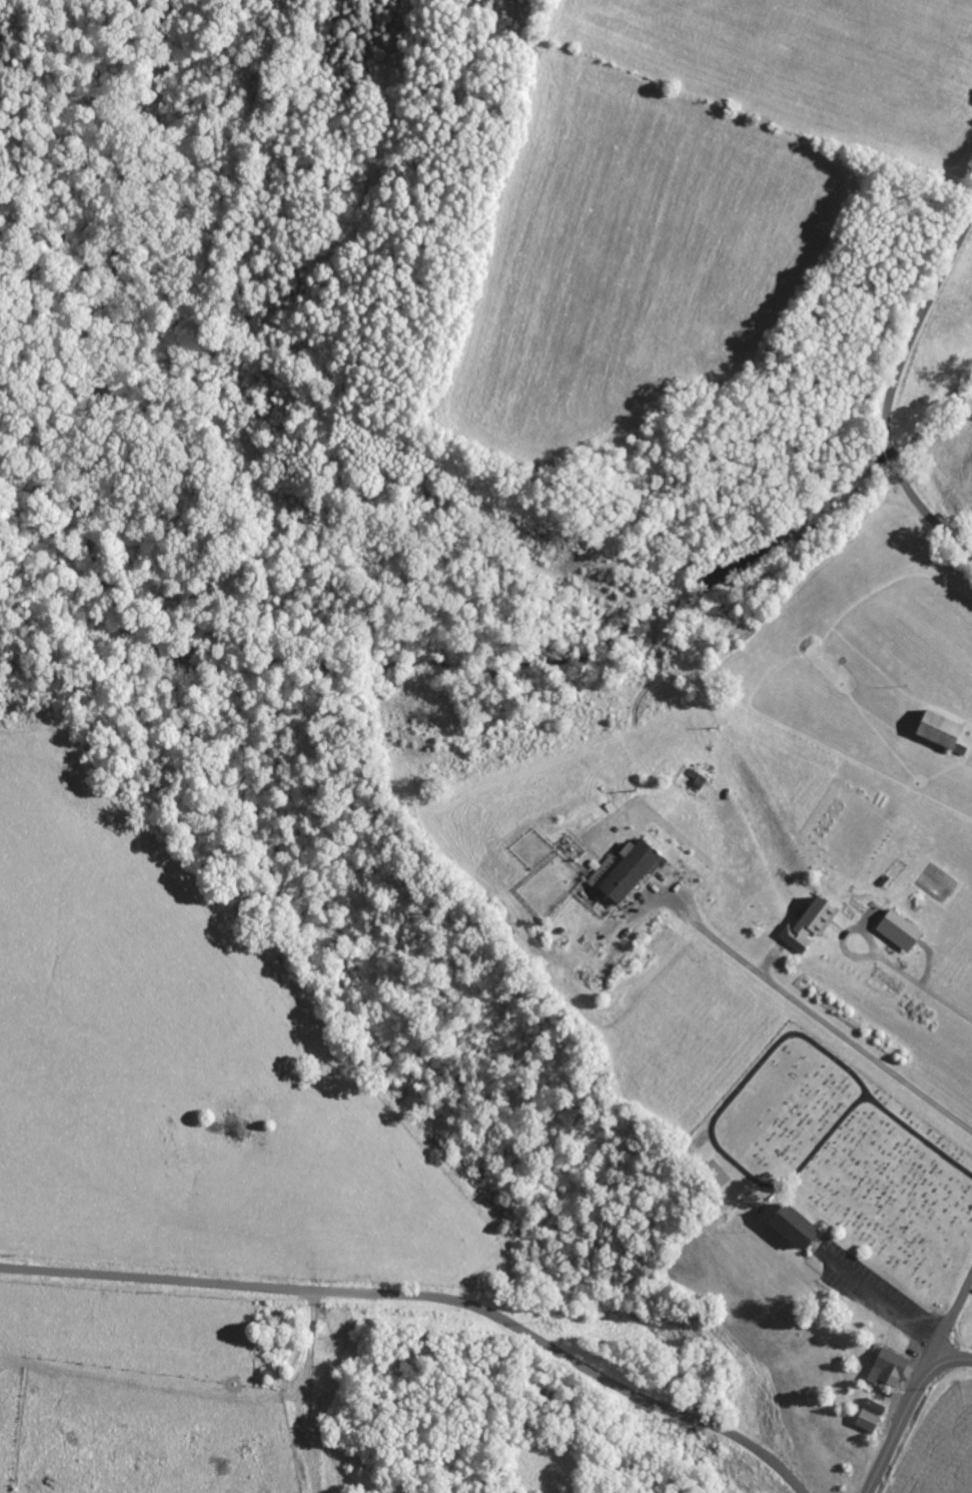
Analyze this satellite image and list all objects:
road: (895, 389)
building: (940, 729)
building: (625, 871)
building: (810, 924)
building: (900, 930)
road: (844, 932)
road: (923, 984)
road: (812, 1013)
park: (848, 1158)
building: (794, 1226)
road: (430, 1294)
road: (951, 1321)
building: (892, 1368)
road: (908, 1411)
building: (868, 1421)

